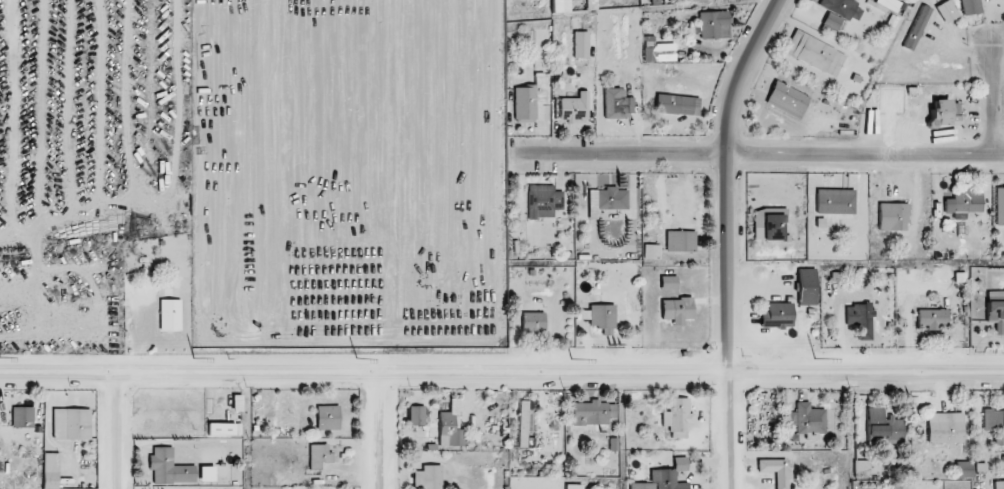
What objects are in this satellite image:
building: (886, 5)
building: (968, 7)
building: (840, 9)
building: (945, 12)
building: (830, 22)
building: (712, 25)
building: (914, 28)
building: (578, 45)
building: (812, 54)
building: (527, 99)
building: (785, 100)
building: (614, 104)
road: (992, 104)
building: (675, 105)
building: (572, 108)
building: (942, 113)
road: (750, 157)
building: (606, 200)
building: (541, 202)
building: (833, 202)
building: (962, 202)
building: (998, 206)
building: (890, 217)
building: (767, 224)
road: (727, 239)
building: (678, 242)
building: (649, 252)
building: (804, 287)
building: (674, 309)
building: (994, 311)
building: (168, 315)
building: (775, 316)
building: (598, 317)
building: (856, 317)
building: (930, 319)
building: (531, 323)
road: (501, 373)
building: (590, 414)
building: (414, 416)
building: (21, 418)
building: (326, 418)
building: (676, 418)
building: (806, 421)
building: (69, 425)
building: (521, 425)
building: (881, 426)
building: (994, 426)
building: (448, 427)
building: (943, 428)
road: (114, 431)
road: (378, 431)
building: (317, 456)
building: (167, 468)
building: (859, 470)
building: (962, 470)
building: (49, 471)
building: (775, 471)
building: (667, 476)
building: (426, 478)
building: (998, 485)
building: (903, 486)
building: (571, 487)

